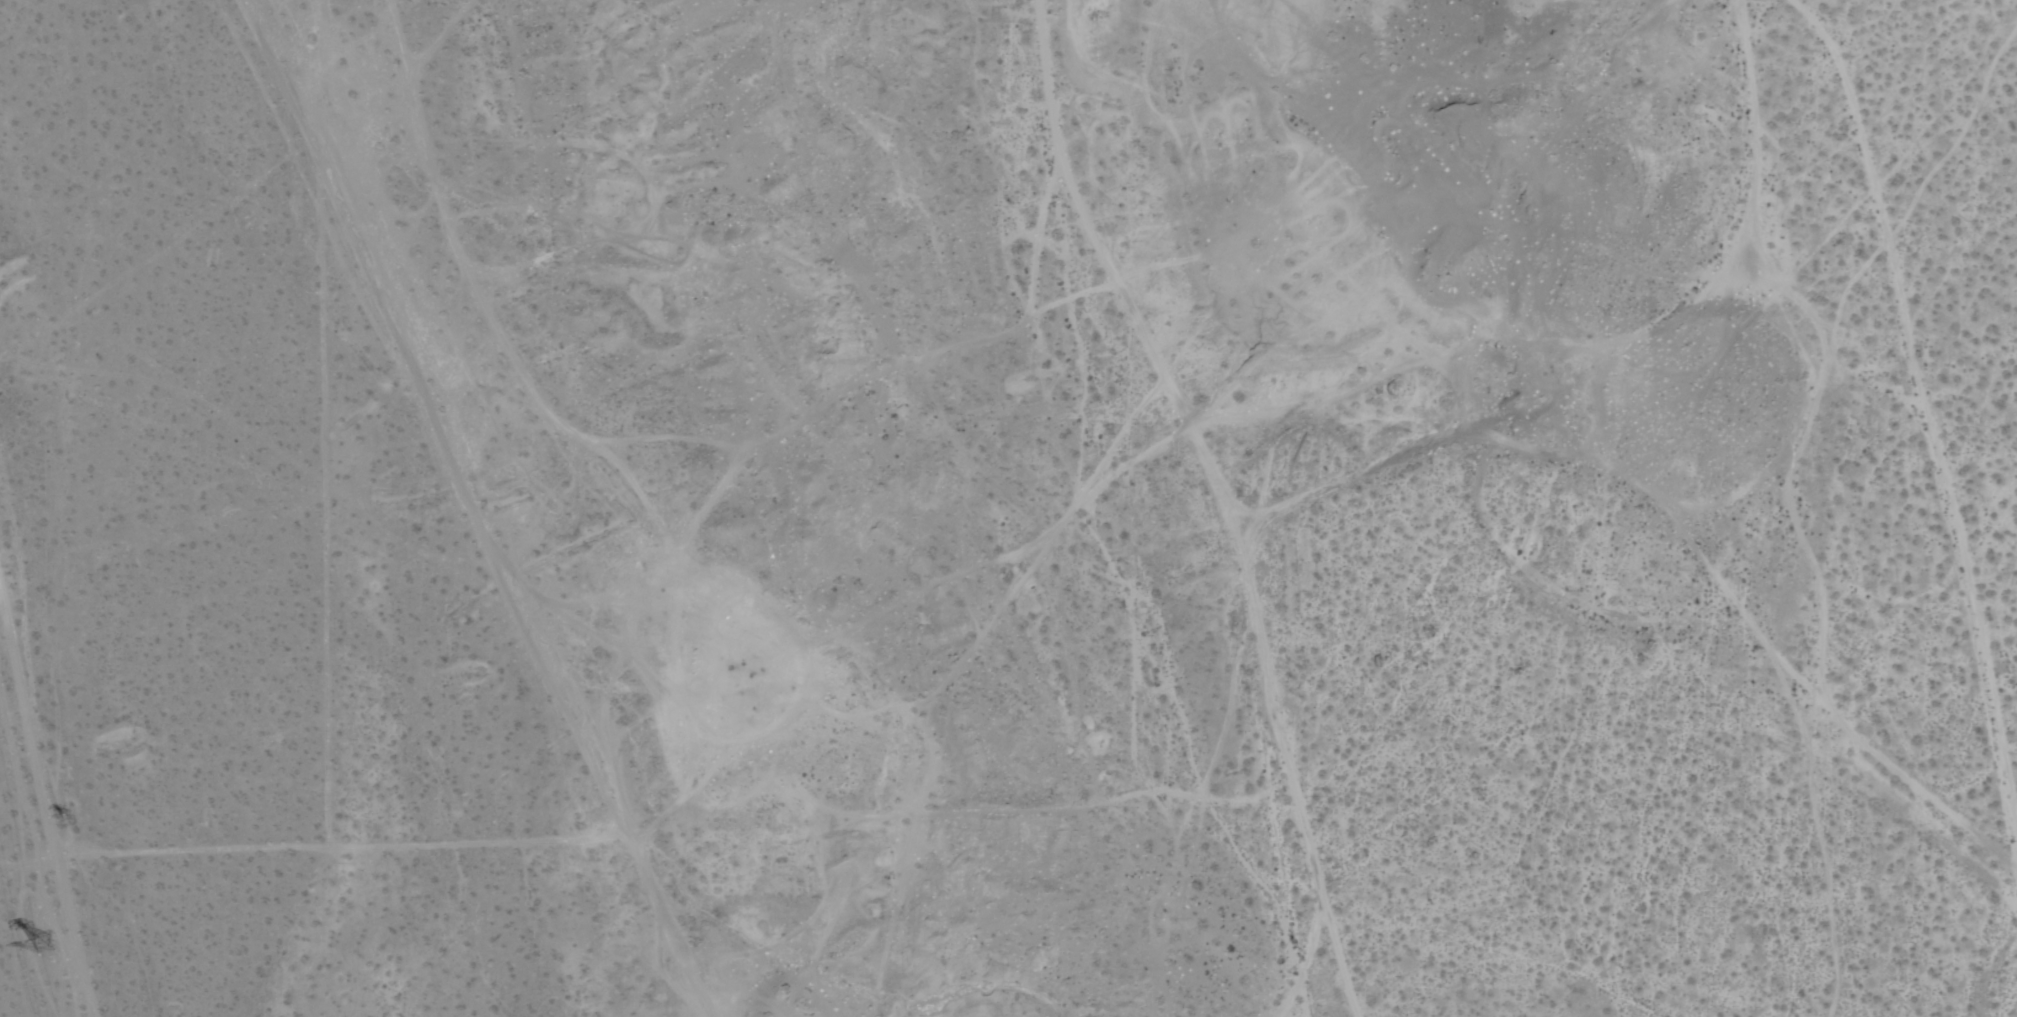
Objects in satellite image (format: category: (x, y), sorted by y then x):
road: (1222, 498)
road: (45, 815)
power tower: (62, 818)
power tower: (40, 948)

